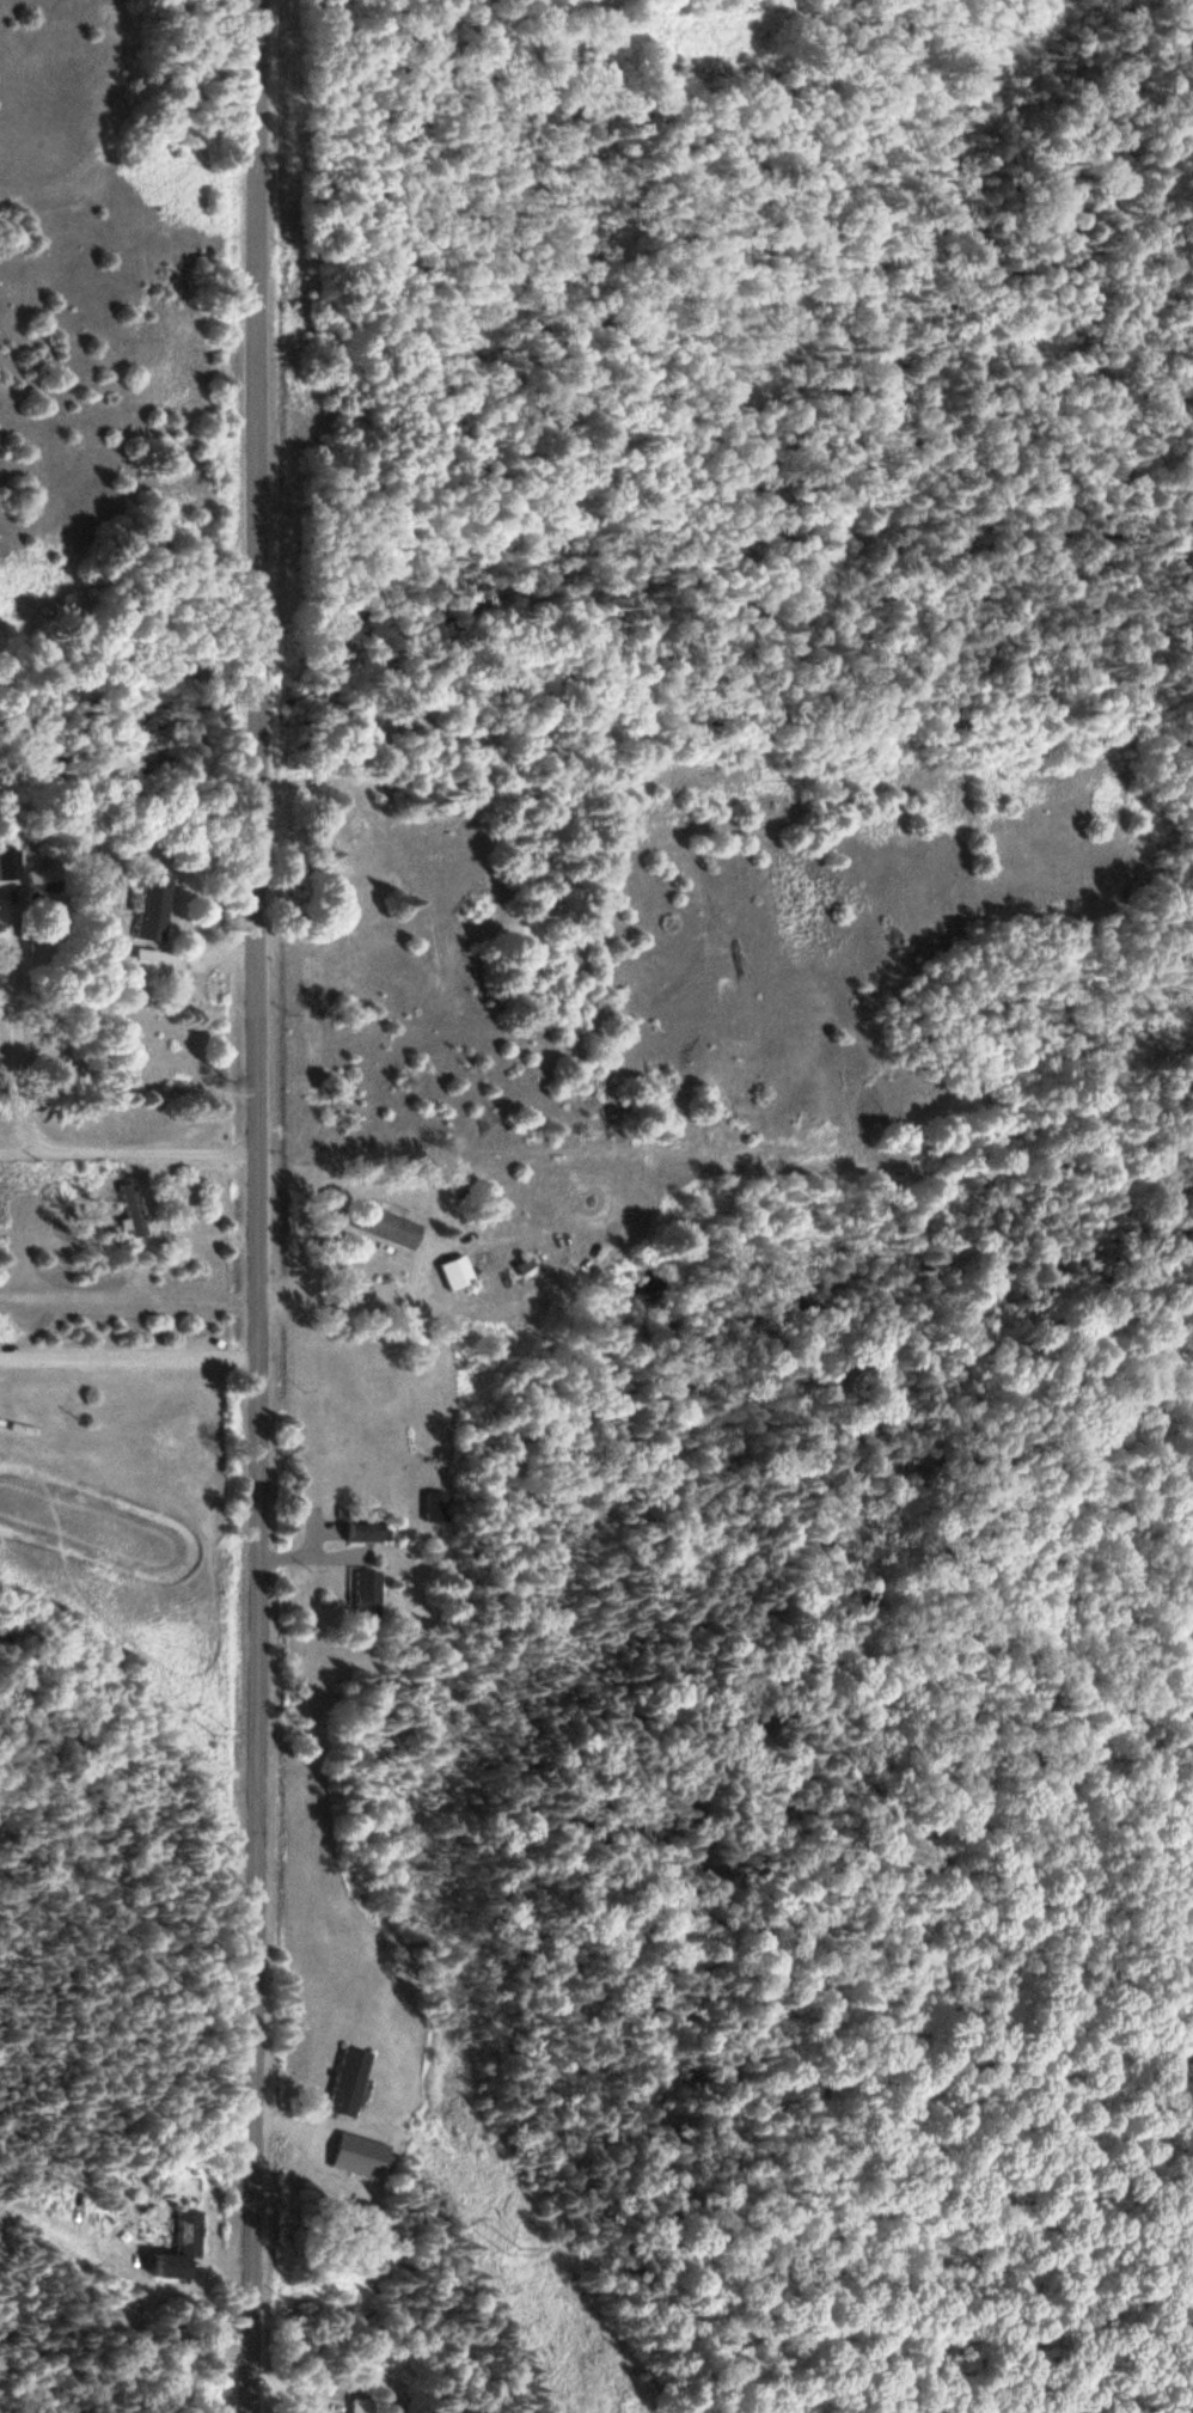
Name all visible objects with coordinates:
building: (148, 908)
building: (141, 967)
road: (37, 1040)
road: (129, 1148)
road: (259, 1206)
building: (126, 1211)
building: (378, 1228)
building: (446, 1273)
building: (429, 1508)
building: (351, 1533)
building: (359, 1598)
building: (342, 2084)
building: (354, 2157)
building: (173, 2249)
building: (359, 2406)

